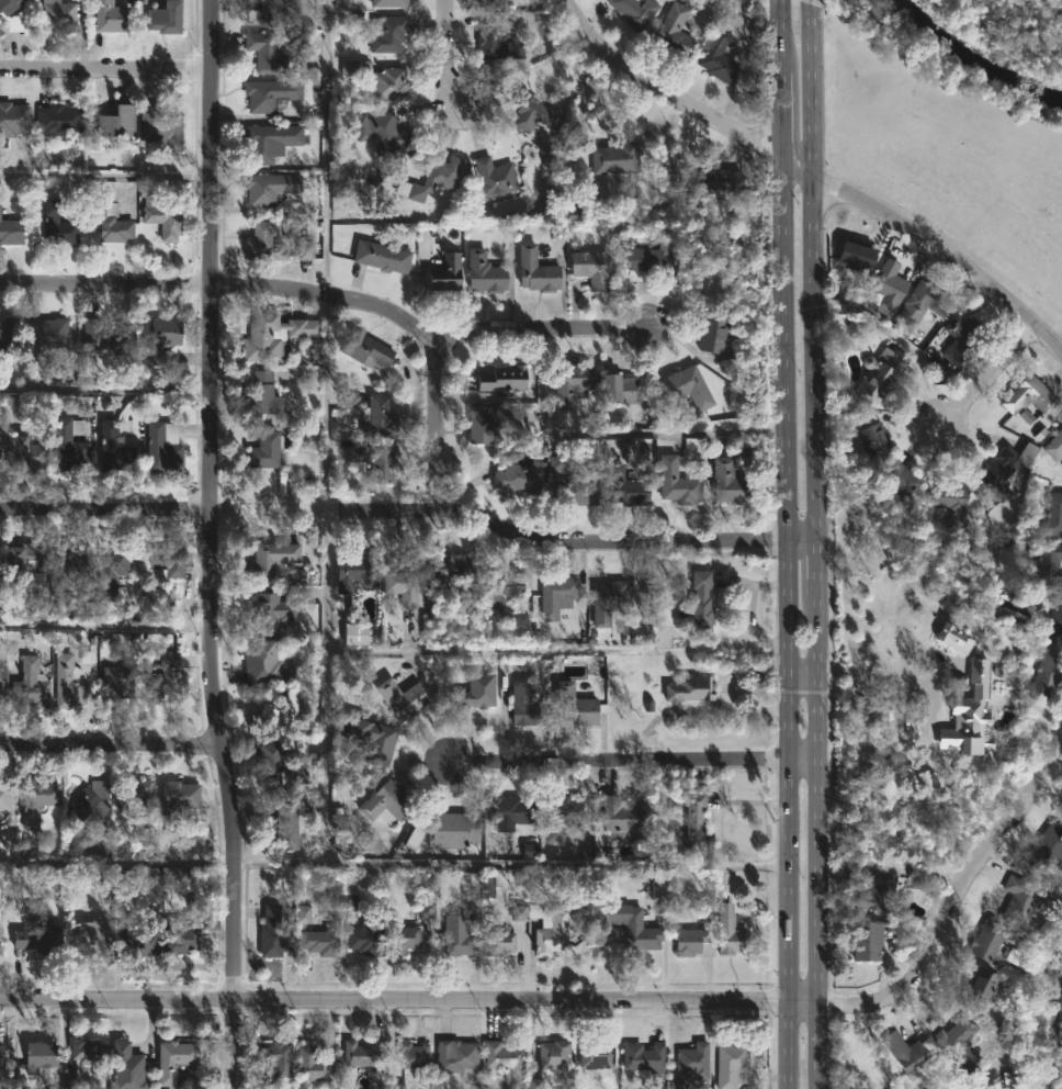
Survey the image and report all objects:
road: (810, 1)
building: (391, 2)
building: (493, 3)
building: (10, 5)
building: (270, 11)
building: (636, 11)
building: (60, 14)
building: (111, 18)
building: (166, 18)
building: (15, 23)
park: (1008, 29)
building: (676, 31)
building: (388, 33)
building: (498, 43)
building: (267, 54)
building: (720, 56)
road: (437, 58)
building: (357, 66)
road: (104, 71)
building: (392, 85)
building: (271, 94)
road: (679, 98)
building: (531, 116)
building: (13, 119)
building: (59, 120)
building: (118, 122)
park: (960, 125)
building: (162, 127)
building: (389, 133)
building: (268, 142)
road: (326, 148)
building: (617, 160)
building: (437, 177)
building: (496, 177)
building: (721, 182)
building: (271, 188)
building: (570, 214)
building: (163, 217)
building: (58, 224)
building: (111, 224)
building: (12, 231)
building: (264, 244)
building: (305, 249)
road: (942, 254)
building: (861, 256)
building: (384, 257)
building: (648, 259)
building: (592, 268)
building: (539, 271)
building: (448, 272)
building: (487, 273)
building: (892, 287)
road: (329, 297)
building: (923, 304)
building: (45, 335)
building: (715, 335)
building: (7, 336)
building: (963, 336)
building: (108, 337)
building: (271, 337)
building: (161, 338)
building: (368, 349)
building: (884, 373)
road: (987, 374)
building: (505, 379)
building: (575, 383)
building: (689, 388)
road: (104, 389)
building: (622, 389)
building: (1030, 395)
building: (262, 401)
road: (326, 403)
building: (381, 417)
building: (487, 424)
road: (438, 427)
road: (600, 435)
building: (874, 437)
building: (70, 441)
building: (161, 444)
building: (1055, 447)
building: (113, 448)
building: (0, 449)
building: (27, 453)
building: (268, 458)
building: (376, 460)
building: (555, 464)
building: (999, 473)
building: (509, 476)
building: (534, 476)
building: (902, 480)
building: (732, 482)
building: (679, 483)
building: (629, 487)
building: (574, 493)
road: (210, 499)
building: (954, 504)
road: (409, 509)
building: (1051, 516)
road: (784, 543)
road: (813, 546)
building: (271, 561)
building: (1049, 561)
building: (166, 562)
building: (27, 563)
building: (71, 563)
building: (114, 565)
building: (452, 570)
building: (354, 572)
building: (405, 584)
building: (504, 593)
building: (560, 596)
building: (611, 600)
building: (703, 603)
building: (270, 613)
building: (1059, 618)
road: (105, 624)
building: (362, 635)
building: (953, 639)
road: (374, 652)
building: (267, 664)
building: (1047, 674)
road: (800, 675)
building: (168, 677)
building: (118, 680)
road: (877, 681)
building: (69, 682)
building: (31, 684)
road: (326, 684)
building: (692, 689)
building: (478, 692)
building: (1, 694)
building: (957, 698)
building: (404, 699)
building: (577, 706)
building: (530, 707)
building: (287, 711)
building: (970, 738)
road: (109, 741)
building: (371, 743)
building: (273, 760)
road: (629, 765)
building: (296, 775)
building: (927, 778)
building: (5, 797)
building: (95, 797)
building: (180, 797)
building: (652, 798)
building: (38, 799)
building: (138, 801)
building: (389, 802)
building: (512, 809)
building: (562, 816)
building: (623, 820)
building: (697, 826)
building: (285, 827)
building: (455, 829)
building: (419, 830)
road: (716, 832)
building: (1047, 849)
building: (529, 851)
road: (116, 860)
road: (478, 862)
building: (123, 876)
building: (918, 879)
building: (91, 880)
building: (658, 888)
building: (878, 888)
building: (1024, 899)
building: (349, 902)
building: (704, 903)
building: (426, 909)
building: (518, 912)
building: (303, 913)
building: (631, 925)
building: (551, 929)
building: (273, 932)
building: (732, 932)
building: (464, 934)
building: (368, 938)
building: (409, 939)
building: (42, 940)
building: (92, 940)
building: (873, 940)
building: (988, 940)
building: (182, 941)
building: (321, 941)
building: (145, 942)
building: (500, 942)
building: (694, 943)
building: (985, 988)
road: (116, 1000)
road: (718, 1004)
road: (231, 1044)
building: (959, 1044)
building: (905, 1051)
building: (90, 1053)
building: (366, 1053)
building: (599, 1053)
building: (415, 1055)
building: (2, 1056)
building: (646, 1056)
building: (459, 1057)
building: (275, 1058)
building: (508, 1058)
building: (554, 1058)
building: (176, 1059)
building: (36, 1062)
building: (692, 1064)
building: (734, 1064)
building: (314, 1065)
building: (128, 1066)
building: (536, 1084)
building: (395, 1086)

